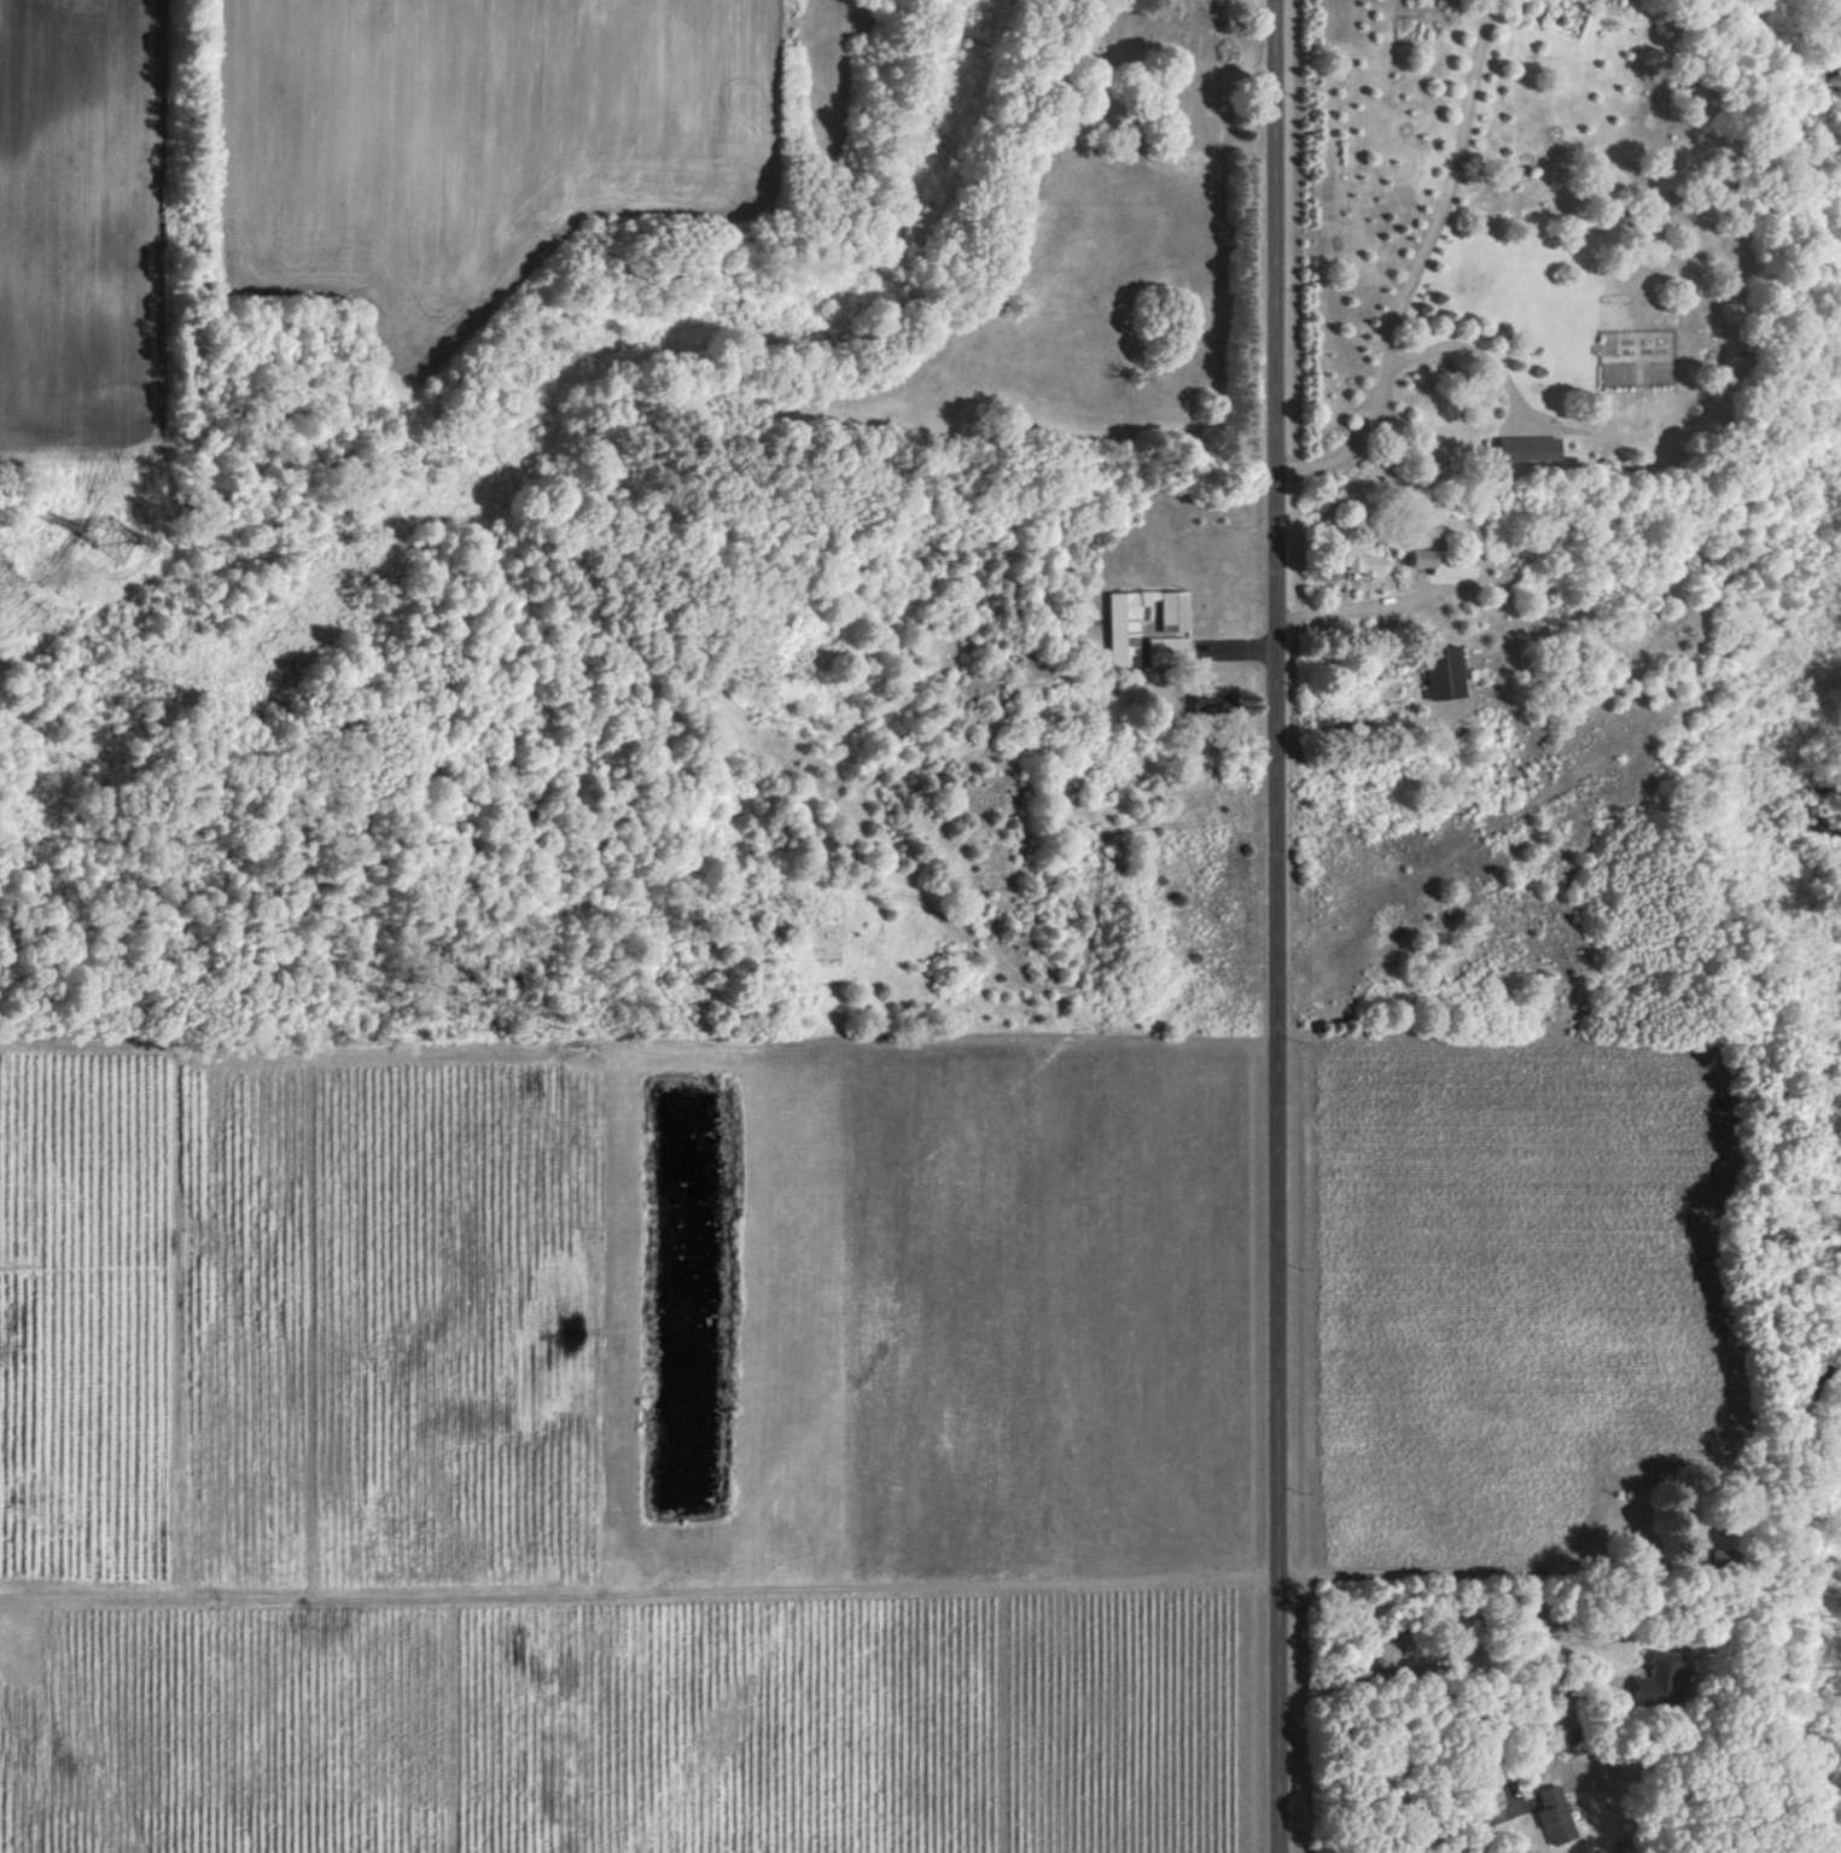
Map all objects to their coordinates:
road: (1414, 264)
road: (1474, 345)
building: (1532, 447)
power tower: (106, 546)
building: (1363, 560)
building: (1449, 561)
road: (1354, 610)
building: (1124, 624)
road: (1239, 647)
building: (1169, 649)
building: (1446, 672)
building: (1213, 701)
road: (1276, 926)
road: (1481, 1574)
road: (1441, 1665)
building: (1661, 1679)
building: (1555, 1813)
road: (1450, 1830)

